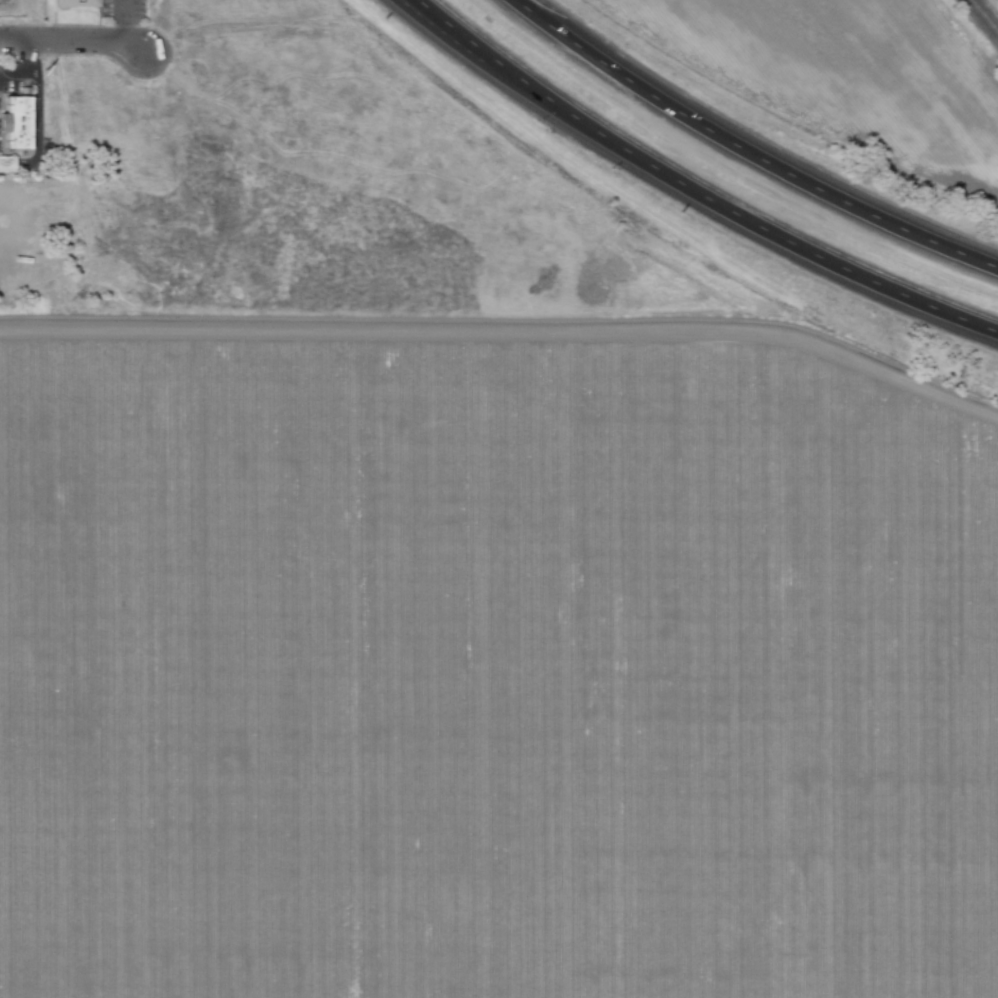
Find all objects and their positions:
building: (77, 3)
parking lot: (121, 8)
railway: (983, 17)
road: (121, 22)
road: (73, 39)
road: (27, 69)
building: (16, 122)
road: (746, 152)
building: (7, 164)
road: (693, 191)
road: (506, 328)
crop: (492, 673)

